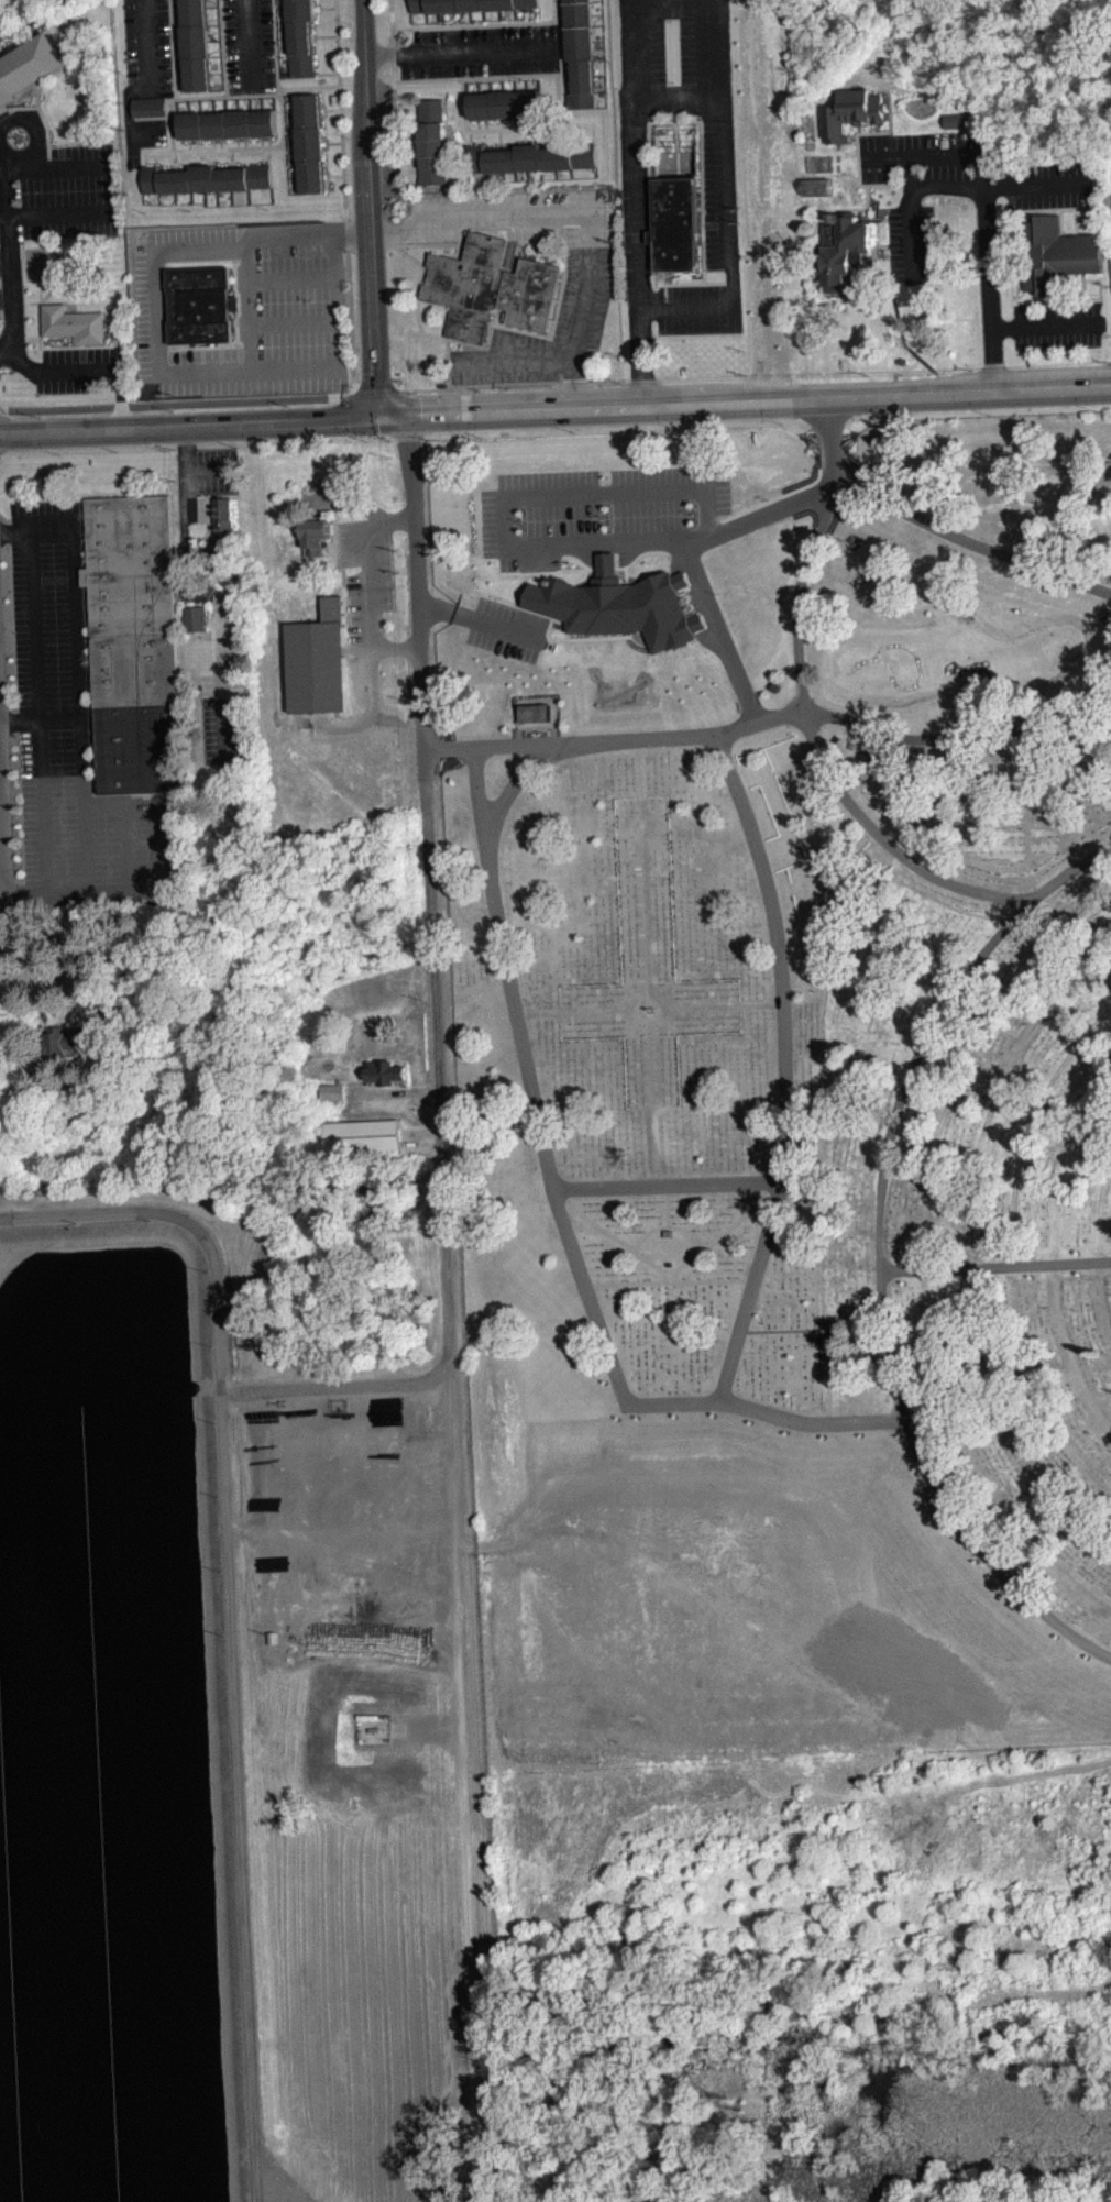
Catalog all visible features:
road: (280, 3)
road: (177, 4)
building: (466, 4)
road: (553, 5)
road: (322, 7)
road: (554, 11)
road: (317, 12)
road: (177, 13)
road: (282, 15)
road: (215, 16)
road: (474, 25)
road: (559, 25)
road: (282, 26)
road: (216, 31)
road: (315, 34)
road: (326, 35)
road: (178, 36)
building: (301, 37)
road: (560, 40)
road: (147, 44)
road: (275, 44)
building: (197, 45)
road: (178, 46)
road: (249, 46)
parking lot: (250, 46)
road: (283, 46)
parking lot: (147, 47)
road: (224, 47)
road: (173, 48)
road: (636, 48)
road: (217, 49)
road: (459, 51)
parking lot: (479, 52)
building: (581, 52)
road: (560, 58)
road: (284, 65)
building: (28, 68)
road: (179, 69)
road: (327, 73)
road: (535, 74)
road: (569, 74)
road: (566, 77)
road: (180, 79)
road: (711, 85)
road: (306, 86)
road: (873, 90)
road: (395, 93)
road: (288, 99)
road: (244, 102)
road: (267, 102)
road: (232, 103)
building: (505, 103)
road: (673, 103)
road: (206, 104)
road: (563, 104)
building: (150, 106)
road: (184, 106)
road: (194, 106)
road: (19, 108)
road: (326, 108)
road: (333, 109)
building: (851, 112)
road: (128, 115)
road: (526, 118)
road: (282, 119)
road: (477, 119)
road: (502, 119)
road: (45, 120)
road: (485, 120)
road: (509, 120)
road: (533, 120)
building: (957, 120)
road: (289, 122)
road: (34, 123)
building: (227, 124)
road: (477, 129)
road: (702, 129)
road: (860, 129)
building: (958, 129)
road: (289, 131)
road: (857, 133)
road: (531, 134)
road: (524, 135)
road: (648, 135)
road: (172, 136)
road: (470, 136)
road: (553, 136)
road: (560, 136)
parking lot: (143, 137)
road: (854, 137)
road: (498, 139)
road: (261, 141)
road: (268, 141)
building: (310, 141)
road: (328, 141)
road: (334, 141)
building: (431, 141)
road: (237, 142)
road: (244, 142)
road: (212, 143)
road: (220, 143)
road: (196, 144)
road: (503, 144)
road: (189, 145)
parking lot: (718, 146)
road: (291, 151)
road: (268, 154)
parking lot: (916, 154)
road: (145, 155)
road: (922, 155)
building: (531, 157)
road: (859, 157)
road: (202, 158)
road: (231, 158)
road: (207, 161)
road: (175, 162)
road: (234, 163)
road: (57, 165)
road: (179, 165)
road: (293, 165)
road: (285, 169)
road: (329, 174)
road: (337, 174)
road: (694, 175)
road: (714, 175)
building: (207, 178)
road: (1037, 184)
parking lot: (1048, 185)
road: (948, 186)
road: (293, 187)
road: (715, 188)
road: (344, 189)
road: (3, 190)
parking lot: (56, 192)
road: (389, 192)
road: (1060, 196)
road: (1075, 196)
road: (868, 202)
road: (365, 206)
road: (842, 209)
road: (1050, 209)
road: (61, 212)
parking lot: (515, 214)
road: (548, 214)
road: (902, 217)
road: (914, 217)
road: (879, 218)
road: (1077, 221)
road: (1063, 222)
building: (675, 224)
road: (878, 231)
road: (641, 235)
parking lot: (913, 241)
road: (902, 243)
road: (407, 244)
road: (732, 244)
road: (564, 247)
road: (876, 249)
building: (845, 250)
road: (7, 252)
road: (641, 252)
road: (801, 253)
building: (1056, 254)
road: (722, 255)
road: (333, 256)
road: (4, 258)
road: (703, 258)
road: (651, 263)
road: (988, 268)
road: (422, 284)
building: (491, 287)
road: (45, 295)
road: (1035, 296)
road: (417, 298)
road: (1070, 299)
road: (250, 301)
road: (59, 302)
building: (200, 304)
parking lot: (147, 305)
road: (1055, 312)
parking lot: (276, 319)
road: (899, 319)
road: (11, 320)
road: (262, 322)
building: (74, 323)
parking lot: (1058, 324)
road: (1046, 326)
road: (41, 334)
road: (442, 338)
road: (112, 341)
parking lot: (517, 359)
road: (540, 359)
road: (448, 363)
road: (317, 364)
road: (909, 366)
road: (106, 367)
parking lot: (81, 368)
road: (374, 378)
road: (397, 378)
road: (507, 385)
road: (938, 393)
road: (346, 395)
road: (186, 398)
road: (555, 408)
traffic signals: (407, 411)
traffic signals: (374, 412)
road: (348, 414)
road: (766, 420)
road: (349, 434)
road: (407, 436)
road: (196, 444)
road: (185, 469)
road: (358, 507)
road: (938, 529)
building: (315, 532)
building: (220, 536)
parking lot: (361, 554)
road: (695, 558)
road: (372, 580)
road: (74, 601)
building: (623, 613)
building: (196, 617)
road: (476, 629)
building: (133, 641)
building: (318, 661)
road: (373, 692)
road: (37, 702)
building: (535, 712)
road: (779, 718)
building: (536, 720)
parking lot: (75, 741)
road: (813, 745)
road: (81, 771)
road: (425, 785)
road: (1, 786)
road: (512, 794)
road: (164, 812)
road: (4, 830)
road: (128, 852)
road: (4, 902)
building: (66, 1041)
road: (967, 1061)
road: (785, 1067)
building: (705, 1069)
building: (385, 1070)
park: (781, 1085)
building: (332, 1089)
building: (333, 1100)
road: (421, 1132)
building: (363, 1133)
road: (668, 1187)
road: (669, 1208)
road: (563, 1219)
road: (669, 1230)
road: (1103, 1246)
road: (1014, 1251)
road: (1054, 1251)
road: (970, 1252)
road: (881, 1253)
road: (996, 1268)
road: (670, 1276)
road: (671, 1280)
road: (670, 1284)
road: (338, 1392)
road: (231, 1611)
road: (457, 1681)
wastewater plant: (242, 1702)

